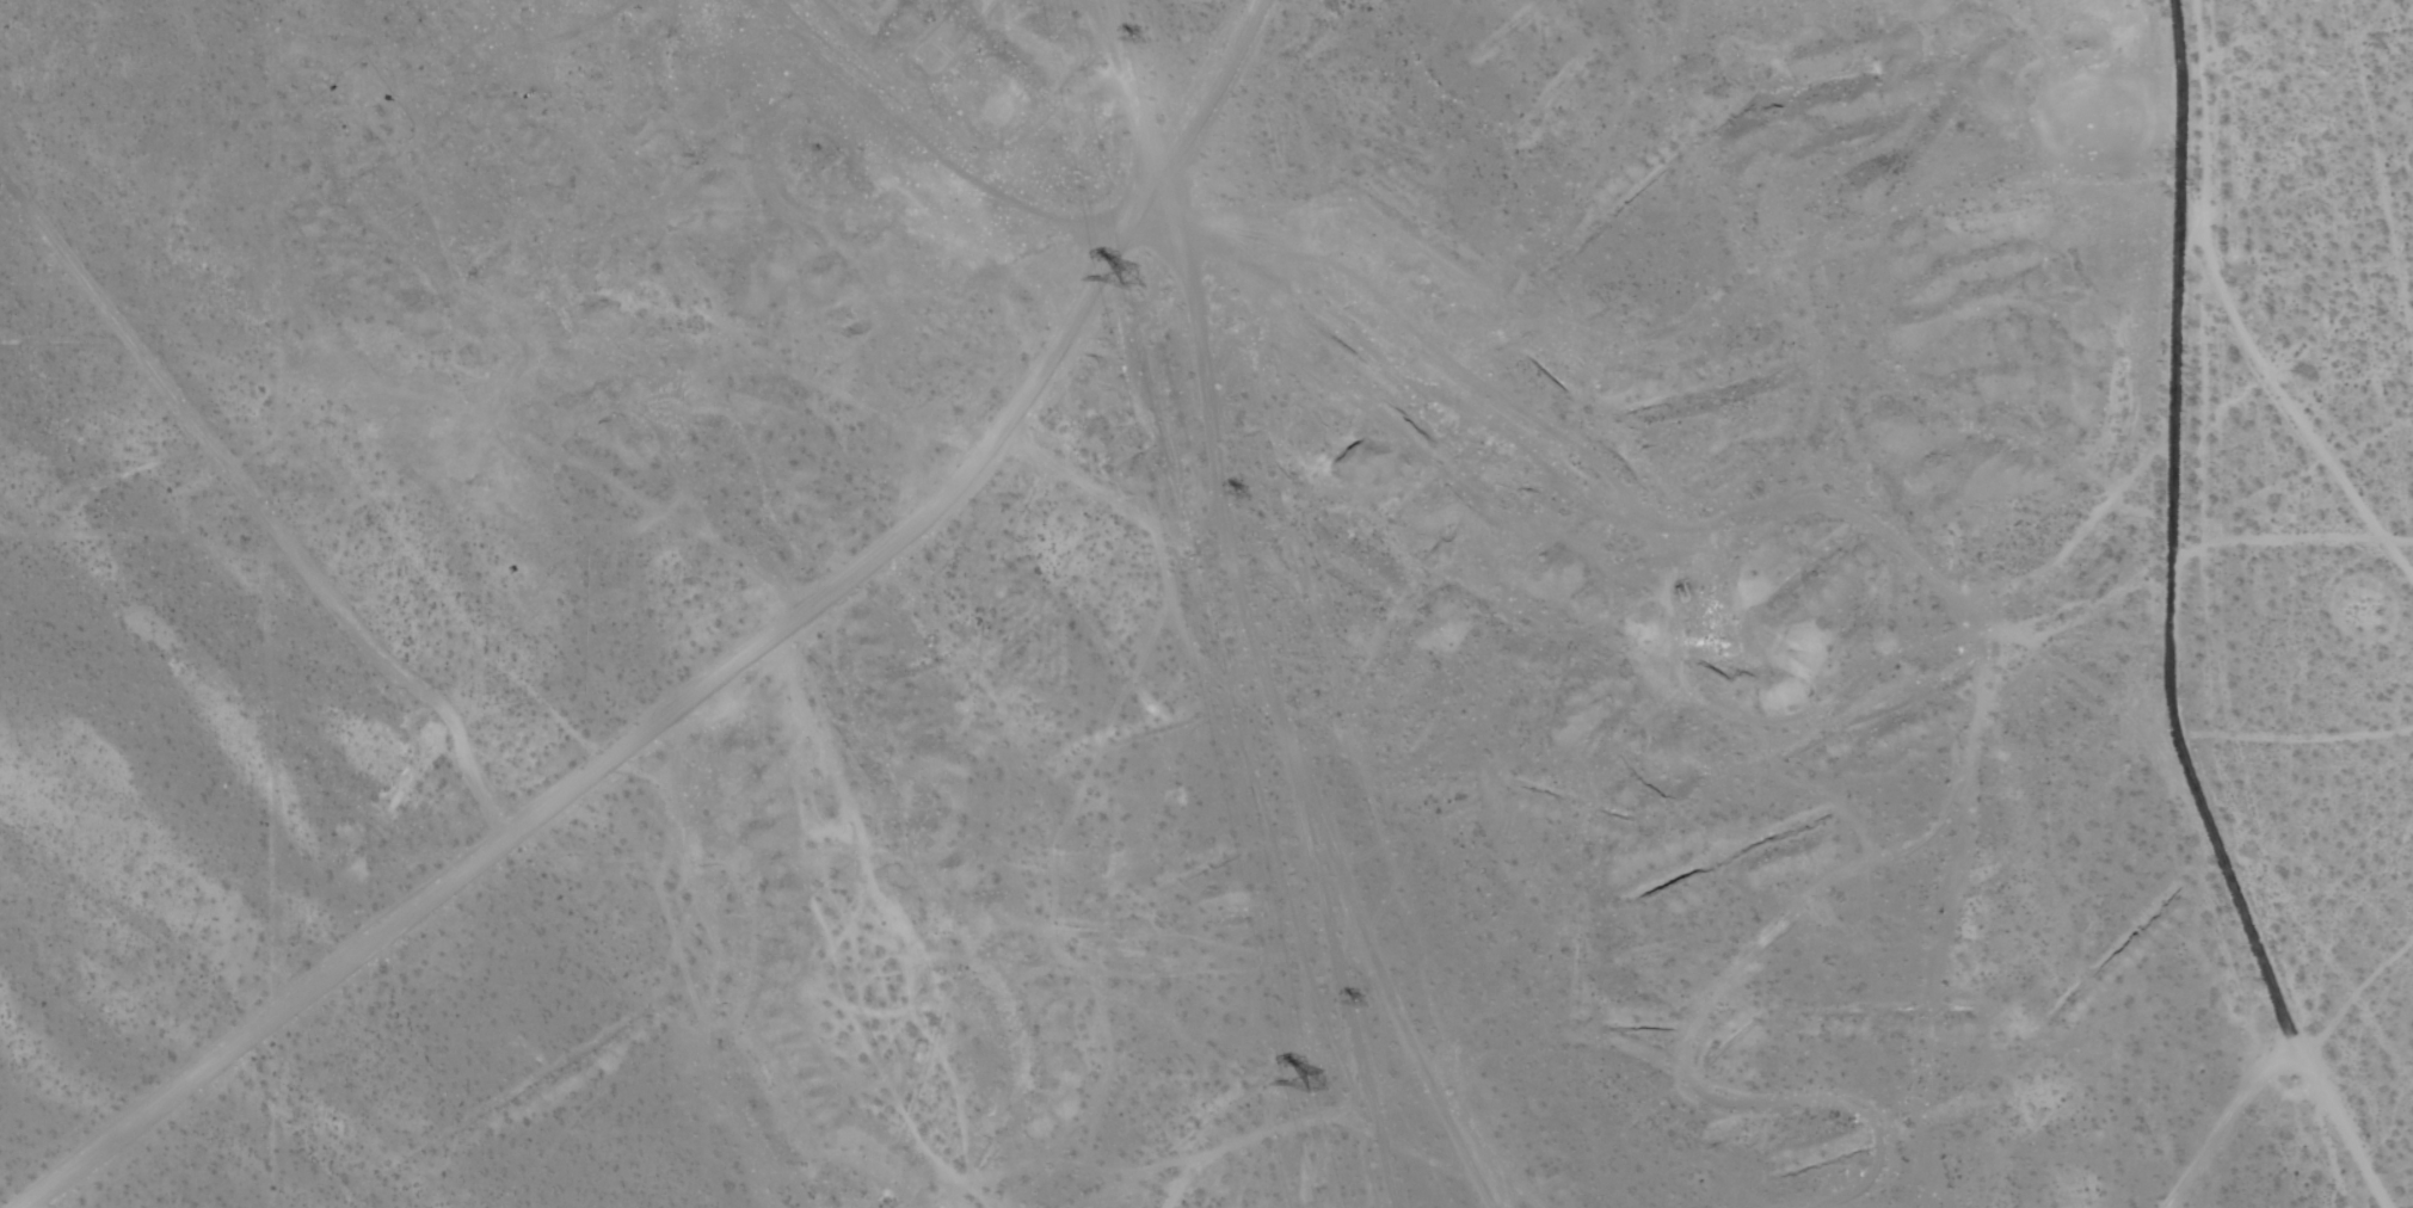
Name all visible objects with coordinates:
power tower: (1145, 44)
power tower: (1143, 284)
crop: (2223, 442)
power tower: (1261, 495)
road: (2166, 532)
road: (1242, 605)
road: (725, 672)
power tower: (1367, 1006)
power tower: (1340, 1086)
road: (2216, 1117)
road: (2340, 1124)

